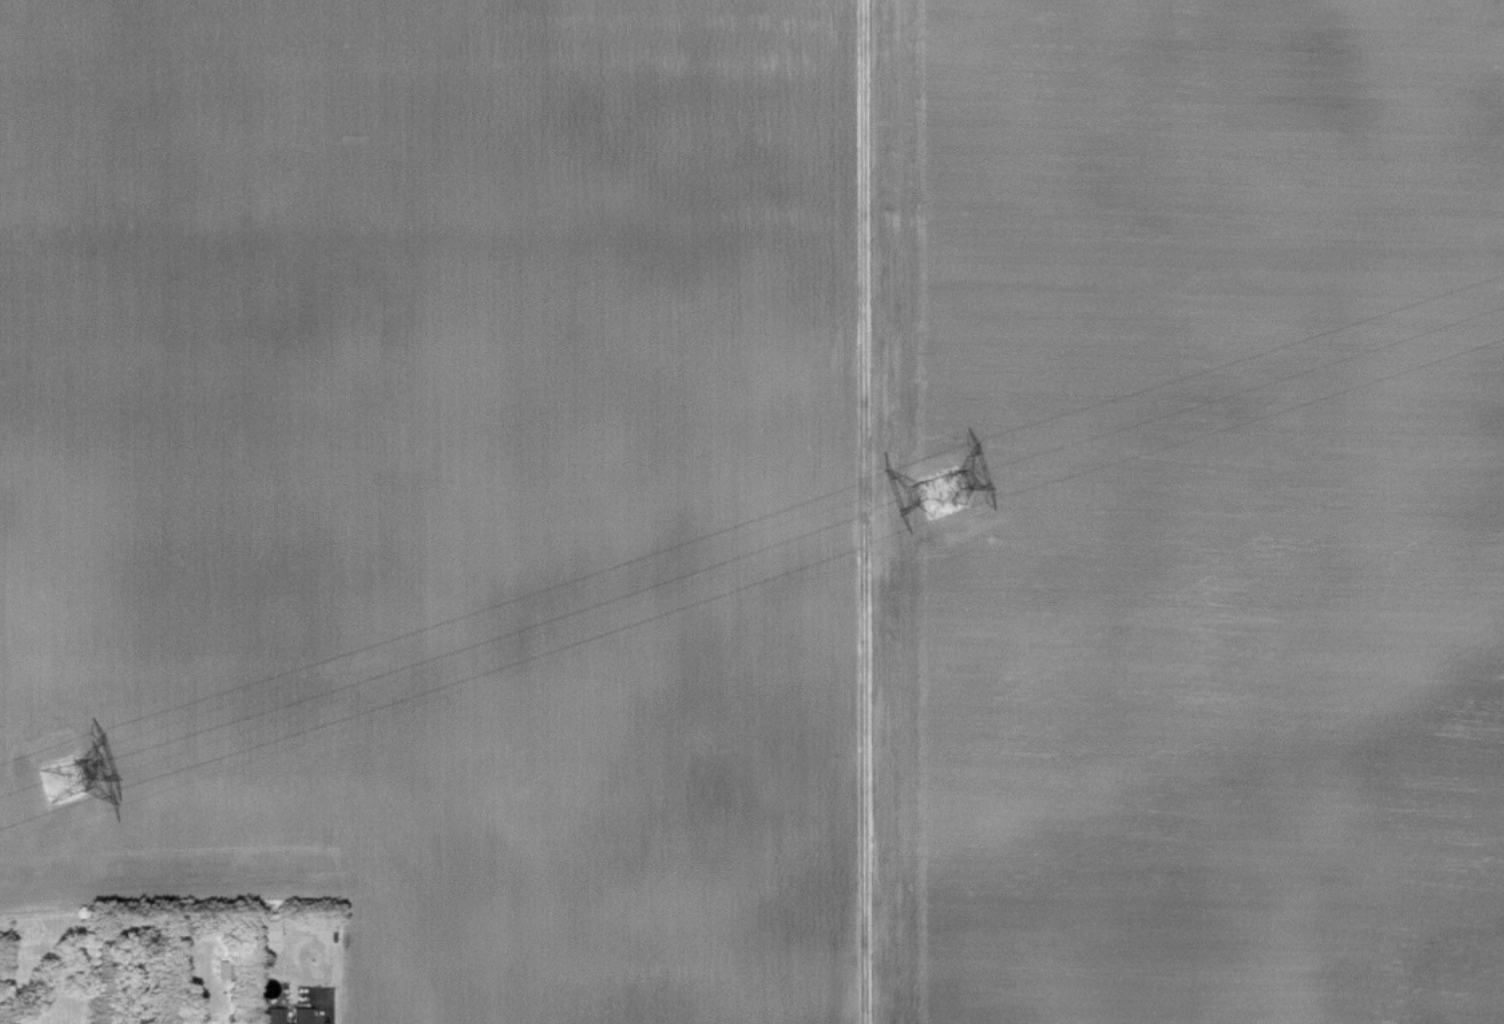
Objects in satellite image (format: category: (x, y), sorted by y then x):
power tower: (961, 465)
road: (864, 511)
power tower: (65, 793)
road: (319, 1012)

